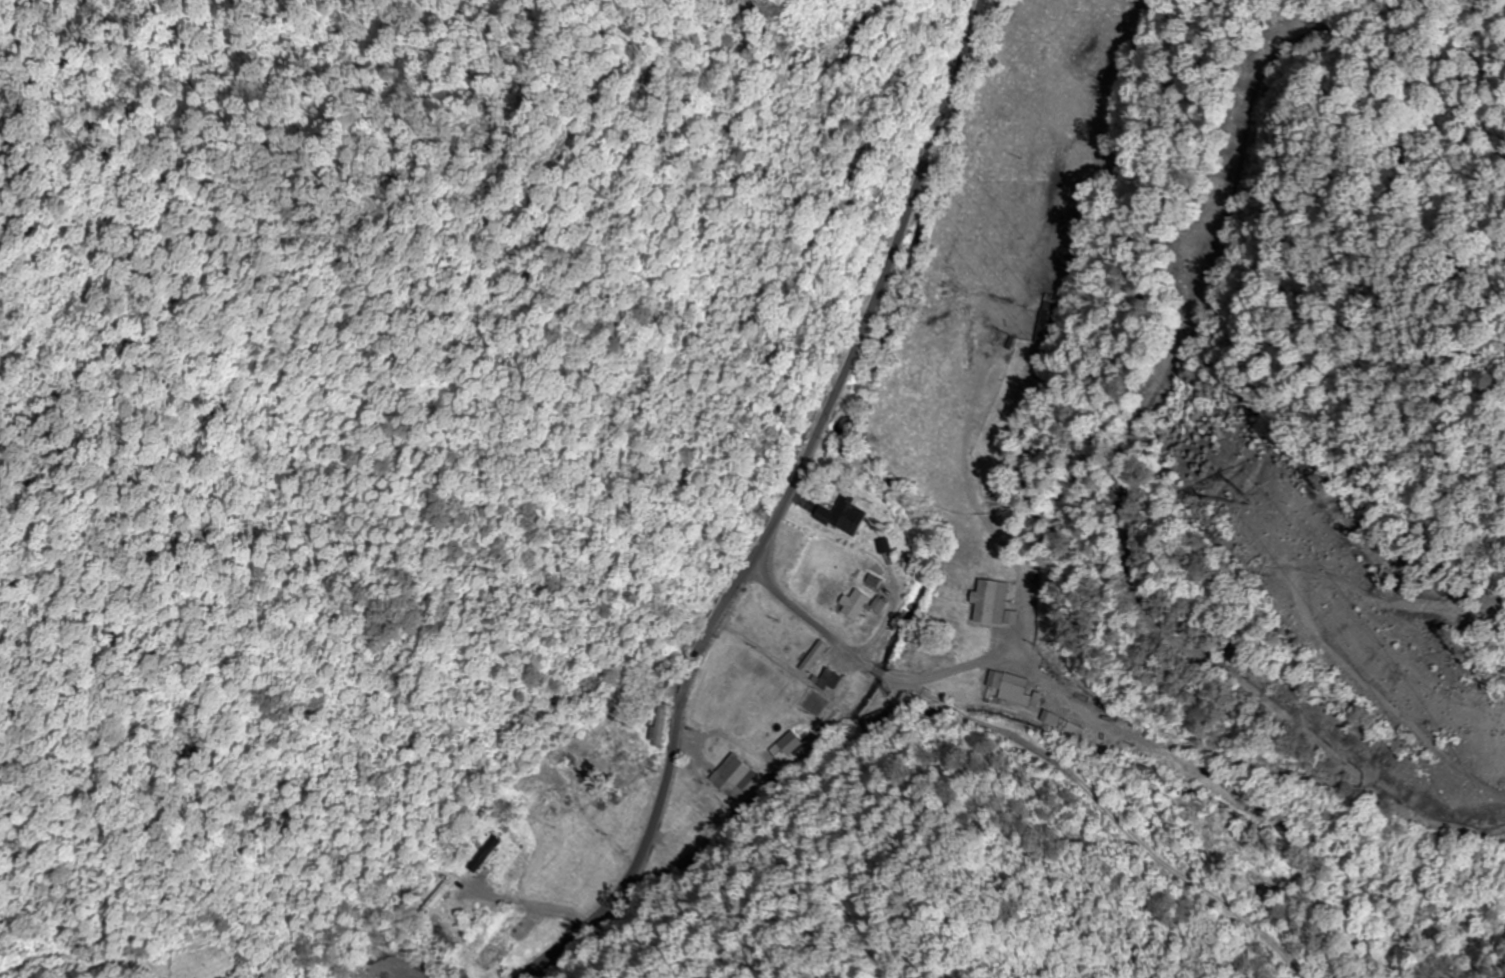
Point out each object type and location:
building: (1045, 319)
power tower: (1244, 506)
road: (779, 510)
building: (843, 515)
building: (989, 601)
building: (855, 604)
building: (879, 604)
building: (813, 656)
building: (830, 679)
building: (970, 679)
building: (659, 683)
building: (1018, 691)
building: (876, 722)
building: (732, 774)
building: (672, 851)
building: (484, 853)
building: (437, 897)
building: (493, 949)

